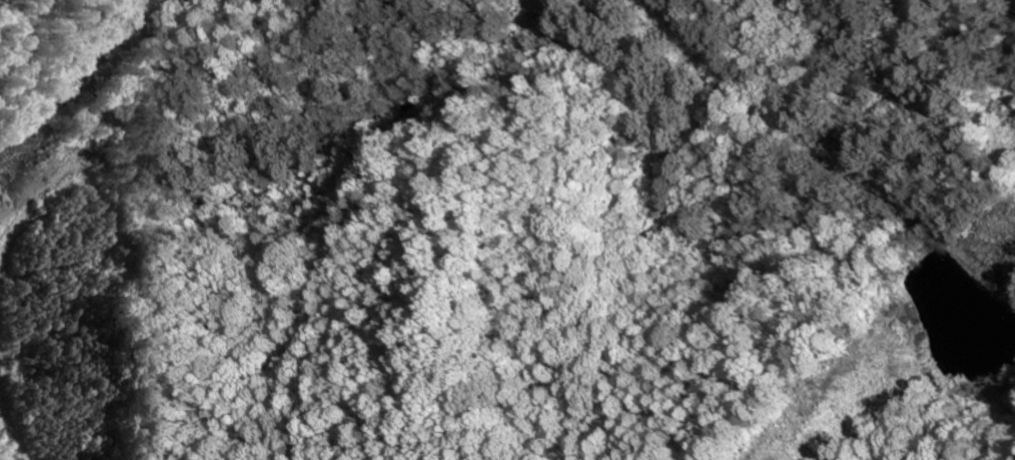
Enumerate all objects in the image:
road: (855, 19)

